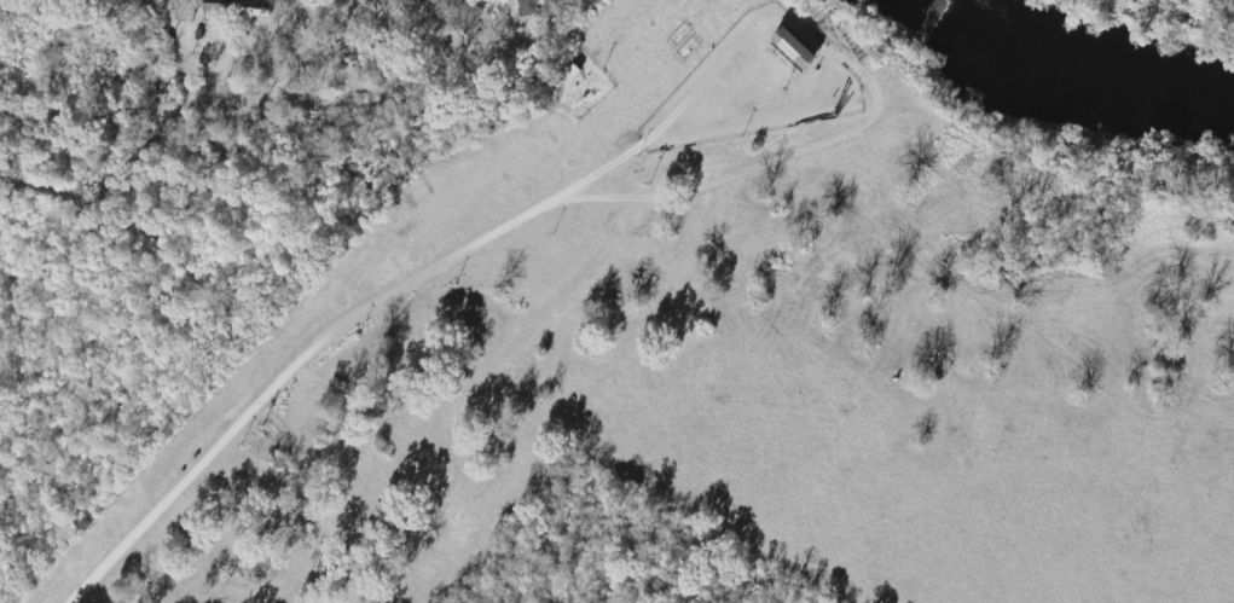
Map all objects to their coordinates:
building: (447, 4)
building: (789, 50)
road: (221, 108)
road: (813, 151)
road: (404, 290)

